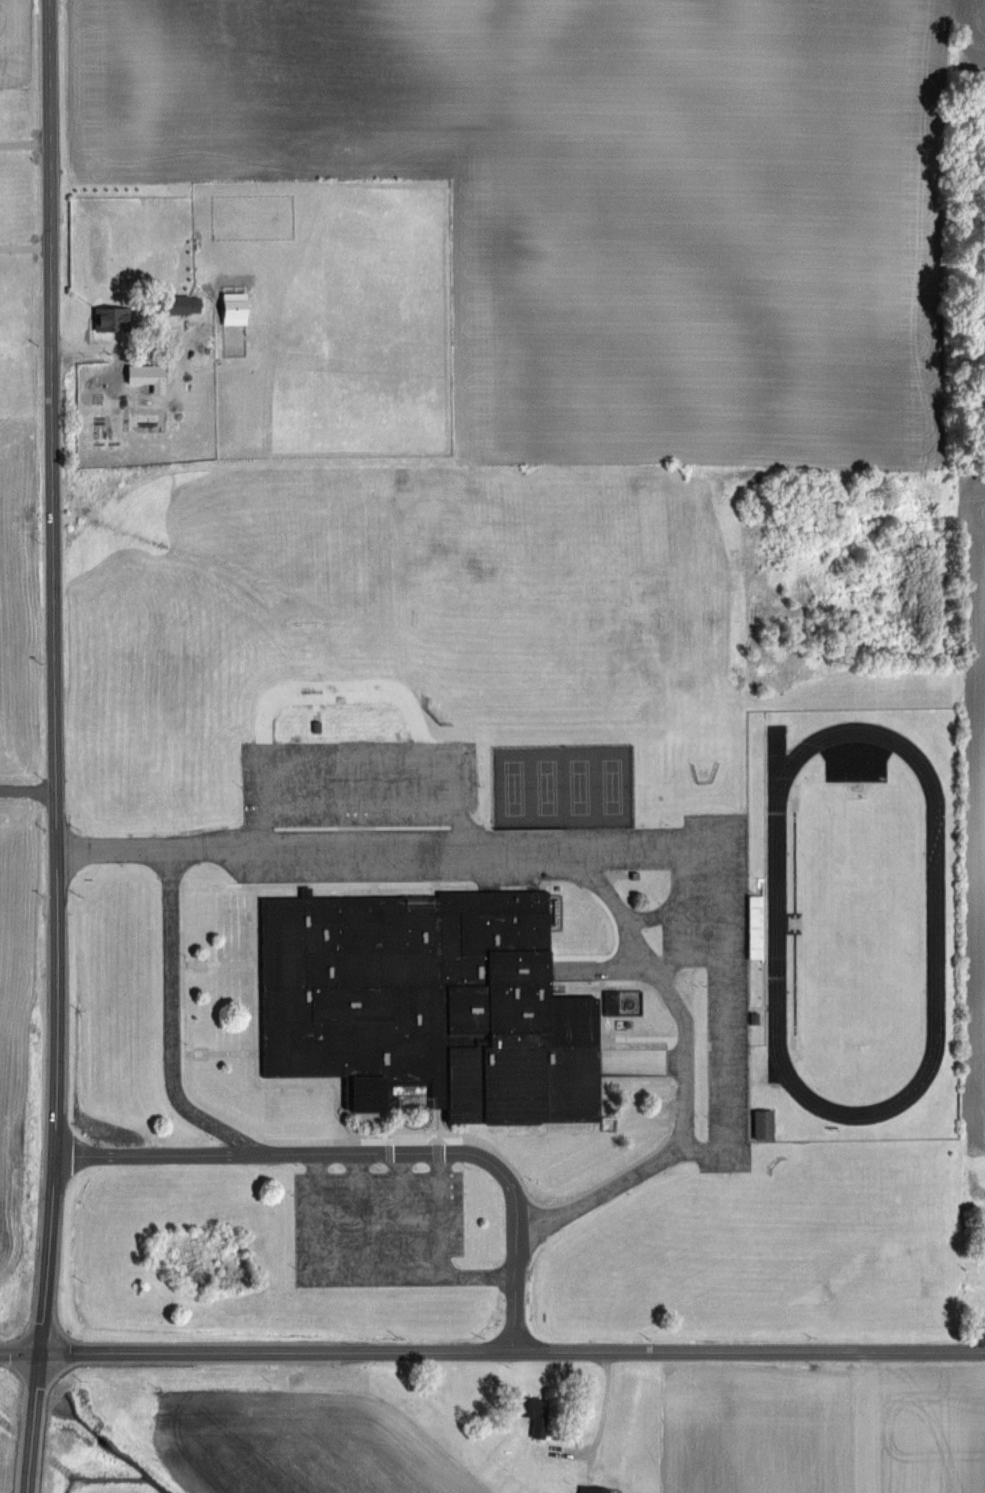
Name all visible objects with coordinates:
road: (25, 145)
road: (26, 251)
building: (110, 317)
road: (126, 347)
road: (54, 676)
road: (361, 762)
parking lot: (356, 784)
road: (27, 785)
park: (564, 787)
road: (361, 806)
road: (576, 850)
road: (686, 865)
road: (436, 888)
road: (374, 891)
park: (861, 923)
park: (854, 924)
road: (182, 936)
road: (612, 952)
road: (221, 964)
parking lot: (715, 966)
road: (599, 968)
road: (726, 989)
road: (662, 1002)
road: (602, 1003)
building: (425, 1004)
road: (172, 1030)
road: (222, 1053)
road: (256, 1055)
road: (639, 1064)
track: (924, 1078)
road: (339, 1092)
road: (339, 1105)
building: (762, 1124)
road: (373, 1154)
road: (523, 1185)
road: (402, 1216)
road: (442, 1216)
road: (316, 1217)
road: (359, 1217)
parking lot: (377, 1218)
road: (415, 1278)
road: (511, 1352)
road: (19, 1353)
building: (532, 1414)
road: (32, 1423)
building: (597, 1490)

